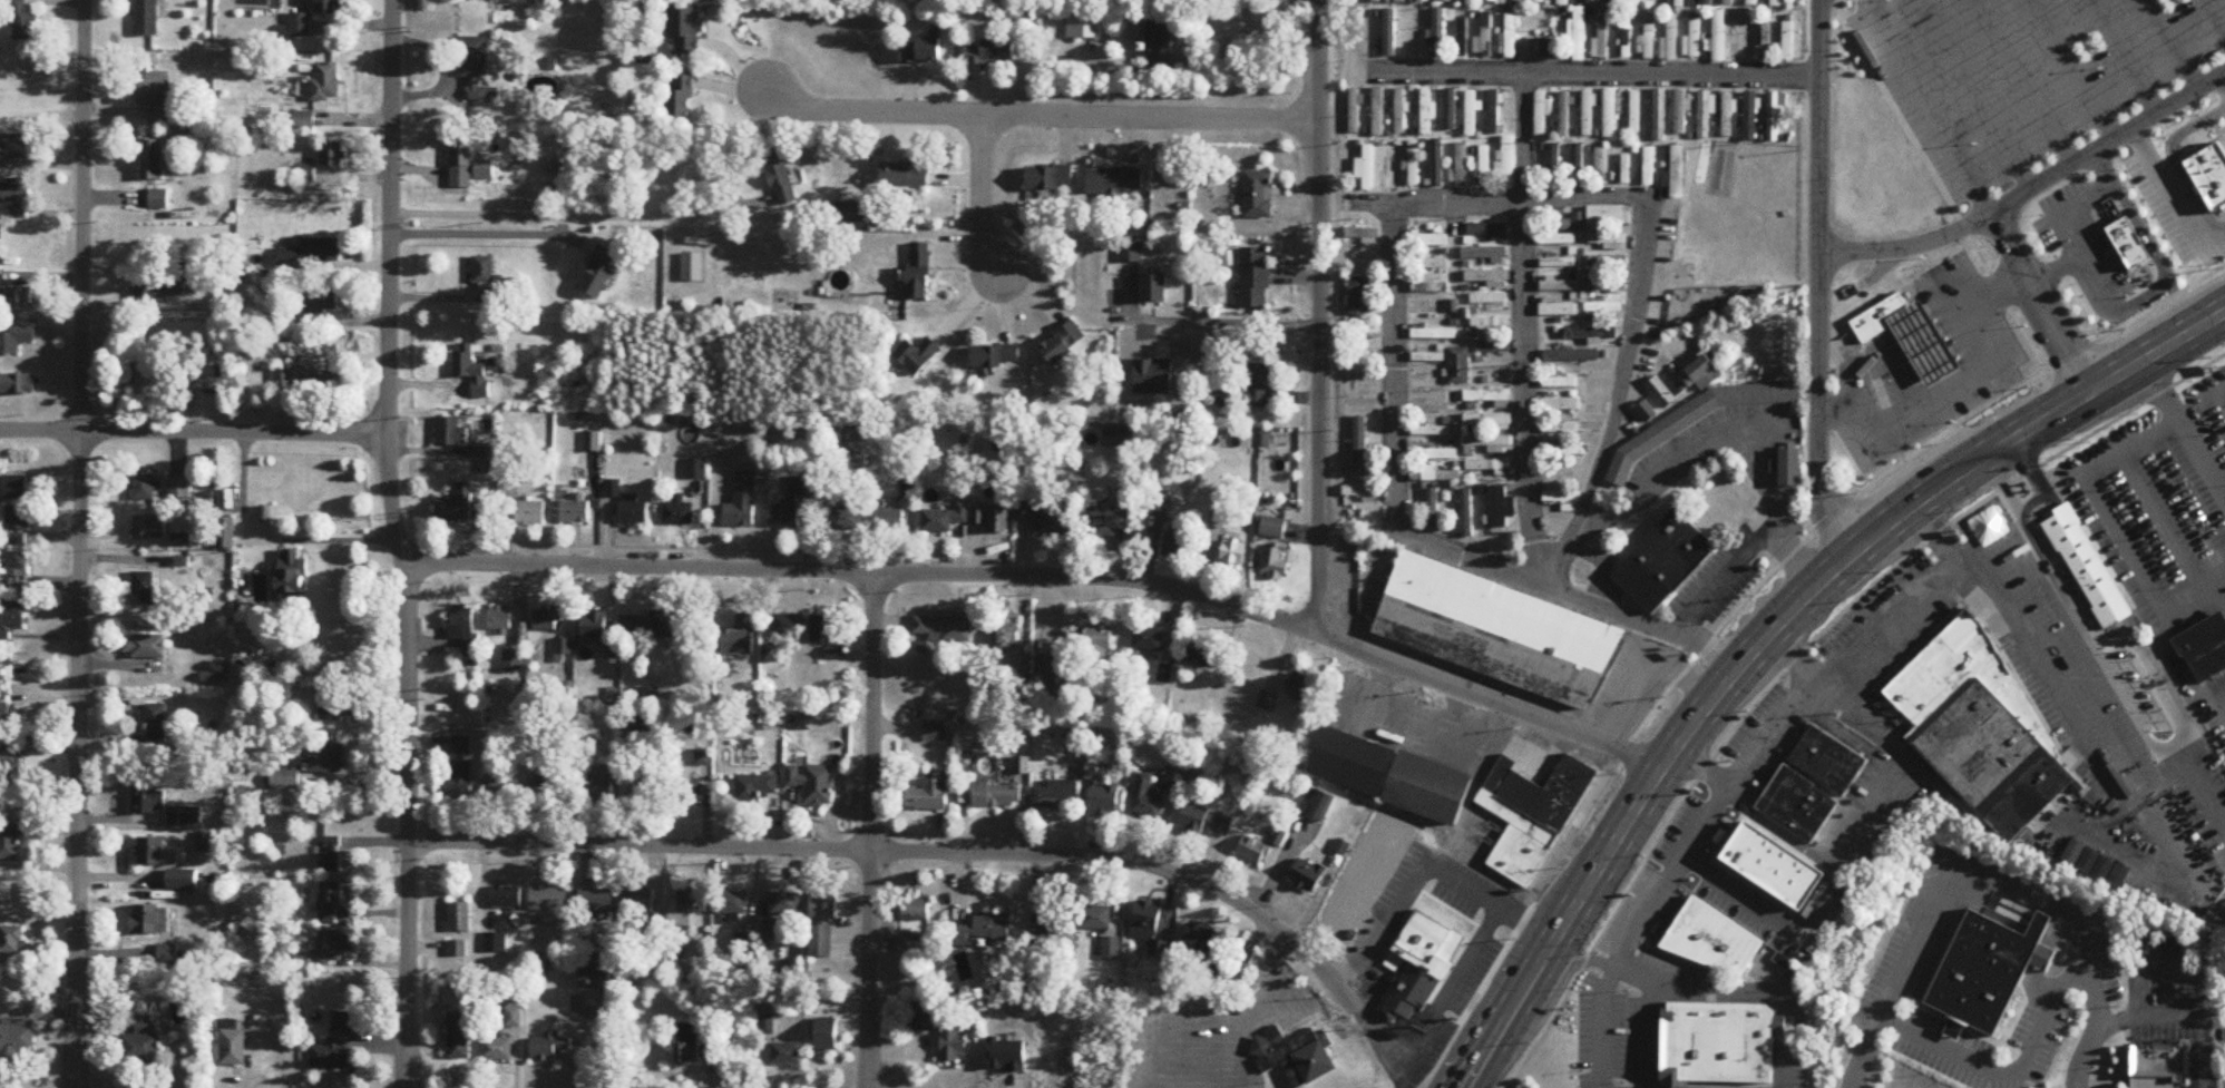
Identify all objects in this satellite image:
building: (1376, 1)
building: (1423, 1)
building: (1446, 1)
building: (1470, 1)
building: (1493, 1)
building: (1587, 1)
building: (1727, 1)
building: (1401, 2)
building: (1539, 2)
building: (1706, 2)
building: (1753, 2)
building: (1563, 3)
building: (1634, 3)
building: (1776, 3)
building: (1682, 4)
building: (329, 7)
building: (147, 18)
road: (2213, 18)
building: (23, 21)
building: (300, 26)
building: (1081, 28)
building: (685, 30)
building: (1437, 33)
road: (1355, 36)
building: (1509, 36)
building: (1601, 36)
building: (1462, 37)
building: (1577, 37)
building: (1626, 37)
building: (1648, 37)
building: (1694, 37)
building: (1718, 37)
building: (1741, 37)
building: (1484, 38)
building: (1670, 40)
building: (1765, 40)
building: (1787, 41)
building: (1160, 42)
road: (2173, 45)
building: (1548, 49)
building: (921, 51)
building: (988, 52)
road: (2122, 57)
road: (1247, 65)
building: (478, 69)
road: (2072, 69)
road: (1587, 73)
building: (326, 82)
road: (2024, 82)
road: (2222, 82)
building: (155, 95)
road: (1974, 95)
building: (681, 100)
road: (1925, 108)
building: (1450, 110)
building: (1354, 111)
road: (1040, 112)
building: (1378, 112)
building: (1399, 112)
building: (1426, 112)
building: (1494, 112)
building: (1611, 112)
building: (1470, 114)
building: (1588, 114)
building: (1680, 114)
building: (1564, 115)
building: (1728, 115)
building: (1706, 116)
building: (1750, 116)
building: (1541, 117)
building: (1775, 117)
building: (14, 148)
building: (332, 155)
building: (152, 160)
building: (1505, 161)
building: (462, 164)
building: (1414, 164)
building: (1553, 164)
building: (1577, 164)
building: (1434, 165)
building: (1600, 165)
building: (1461, 166)
building: (1483, 166)
building: (1622, 166)
building: (1392, 167)
building: (1648, 167)
building: (1366, 168)
building: (485, 170)
building: (1723, 173)
building: (2211, 176)
building: (904, 178)
building: (1050, 178)
building: (781, 180)
building: (1115, 182)
road: (1939, 185)
road: (2030, 189)
road: (2170, 193)
road: (982, 194)
building: (1258, 196)
building: (16, 198)
building: (158, 199)
road: (1501, 199)
building: (849, 213)
road: (574, 216)
building: (1608, 217)
road: (2067, 223)
building: (1578, 224)
building: (1486, 231)
road: (478, 234)
building: (1362, 235)
building: (1550, 235)
building: (1428, 242)
building: (1608, 242)
building: (2129, 245)
building: (1484, 254)
building: (310, 257)
building: (1429, 263)
building: (1608, 263)
building: (1558, 264)
building: (485, 271)
building: (919, 273)
building: (1486, 277)
building: (0, 278)
building: (1256, 280)
road: (1818, 281)
building: (1603, 285)
road: (1728, 285)
building: (1559, 286)
building: (1429, 287)
road: (2000, 287)
building: (164, 290)
building: (1154, 290)
building: (1359, 297)
building: (321, 300)
building: (1489, 300)
building: (17, 301)
road: (2039, 303)
road: (1636, 304)
road: (1394, 306)
building: (1452, 306)
building: (1604, 308)
building: (1559, 310)
building: (1877, 316)
road: (1959, 316)
road: (1319, 320)
road: (1212, 323)
road: (1912, 324)
building: (1490, 326)
road: (1525, 330)
building: (1364, 331)
building: (1601, 332)
building: (1433, 334)
road: (1969, 335)
road: (1921, 339)
building: (17, 340)
building: (1923, 342)
building: (1064, 344)
building: (1493, 347)
building: (1591, 355)
building: (918, 356)
building: (996, 357)
road: (1932, 357)
building: (1428, 359)
road: (1875, 365)
building: (1458, 366)
building: (472, 371)
building: (147, 372)
building: (1502, 373)
building: (1705, 374)
building: (284, 381)
building: (1560, 383)
building: (17, 385)
building: (326, 385)
building: (1259, 386)
road: (1881, 388)
building: (1661, 394)
road: (2217, 395)
building: (1489, 398)
road: (1929, 399)
building: (1560, 404)
building: (1647, 412)
road: (1832, 412)
building: (1698, 421)
building: (1487, 422)
road: (2183, 428)
building: (1560, 430)
building: (452, 431)
building: (1431, 431)
road: (194, 432)
building: (1489, 443)
building: (1563, 452)
road: (1696, 452)
building: (1434, 454)
building: (1489, 467)
building: (696, 469)
building: (1793, 470)
building: (1436, 476)
building: (16, 488)
building: (145, 489)
building: (179, 490)
building: (1362, 493)
building: (1560, 497)
road: (1854, 497)
building: (742, 502)
road: (1585, 502)
building: (628, 506)
building: (462, 507)
building: (1432, 508)
building: (1501, 509)
road: (2180, 509)
building: (576, 510)
building: (677, 511)
building: (530, 513)
building: (1465, 514)
building: (784, 517)
building: (1046, 518)
building: (993, 519)
building: (848, 520)
building: (945, 520)
building: (890, 521)
road: (2159, 521)
building: (1102, 522)
road: (2112, 525)
building: (18, 526)
building: (150, 527)
building: (1273, 528)
building: (225, 533)
road: (1416, 537)
road: (272, 539)
building: (1175, 540)
road: (79, 543)
road: (399, 543)
building: (1235, 552)
road: (1744, 553)
building: (1663, 562)
road: (2049, 565)
building: (1273, 566)
building: (2086, 566)
building: (17, 571)
building: (293, 572)
road: (1044, 576)
building: (146, 588)
road: (2218, 594)
building: (13, 618)
building: (499, 618)
building: (547, 619)
road: (1640, 623)
building: (595, 624)
building: (658, 624)
building: (788, 627)
road: (1892, 627)
building: (943, 628)
building: (1494, 628)
building: (463, 629)
building: (822, 629)
road: (1772, 629)
building: (1005, 635)
building: (1149, 639)
building: (563, 645)
building: (146, 646)
building: (1099, 647)
building: (2205, 650)
road: (1797, 653)
building: (1201, 654)
building: (514, 659)
road: (1639, 664)
building: (1019, 669)
building: (1047, 673)
building: (1304, 688)
road: (2221, 692)
road: (2063, 703)
building: (331, 705)
building: (7, 714)
building: (640, 724)
building: (156, 726)
building: (935, 732)
building: (1982, 733)
road: (1845, 737)
building: (492, 745)
building: (461, 746)
building: (9, 758)
building: (1826, 758)
building: (326, 759)
road: (1699, 767)
building: (1392, 773)
building: (459, 780)
building: (284, 781)
building: (812, 783)
building: (1174, 783)
building: (547, 787)
building: (596, 787)
building: (501, 788)
building: (755, 788)
building: (646, 792)
building: (690, 792)
building: (997, 796)
building: (1054, 796)
building: (929, 797)
building: (1104, 801)
building: (1146, 801)
building: (146, 802)
building: (1795, 802)
building: (1532, 815)
building: (184, 817)
road: (1707, 819)
building: (1204, 821)
road: (1864, 823)
road: (869, 830)
road: (1779, 831)
building: (10, 842)
road: (909, 850)
building: (1253, 850)
building: (150, 852)
building: (331, 855)
road: (1423, 857)
building: (1769, 857)
road: (1954, 864)
building: (1307, 875)
road: (1548, 882)
building: (183, 890)
building: (506, 898)
building: (548, 900)
building: (596, 900)
building: (638, 901)
building: (692, 902)
building: (731, 903)
building: (329, 904)
building: (784, 904)
building: (915, 909)
building: (460, 918)
building: (1096, 919)
building: (150, 920)
building: (823, 924)
building: (1057, 924)
building: (1149, 928)
building: (769, 931)
building: (984, 931)
building: (1465, 935)
building: (1708, 937)
building: (1432, 938)
building: (1200, 939)
building: (11, 940)
road: (1477, 940)
building: (495, 943)
building: (335, 945)
building: (919, 945)
building: (458, 949)
building: (1111, 949)
building: (168, 955)
building: (2040, 955)
road: (1423, 958)
road: (1577, 962)
road: (2147, 967)
building: (1982, 969)
building: (1211, 971)
building: (596, 977)
road: (2213, 987)
building: (1408, 990)
road: (1688, 992)
road: (2204, 992)
road: (1663, 996)
road: (1472, 1003)
road: (1769, 1003)
building: (514, 1011)
road: (1363, 1012)
building: (923, 1016)
road: (2124, 1018)
road: (1785, 1021)
road: (1777, 1027)
building: (1779, 1027)
building: (1952, 1027)
building: (827, 1035)
road: (1649, 1036)
building: (459, 1037)
building: (17, 1039)
building: (952, 1041)
building: (1719, 1042)
building: (140, 1045)
building: (233, 1047)
building: (693, 1047)
building: (552, 1048)
building: (497, 1050)
road: (1778, 1050)
road: (2200, 1052)
building: (785, 1053)
building: (1665, 1053)
building: (330, 1055)
building: (1294, 1056)
road: (1662, 1056)
building: (2159, 1059)
road: (1418, 1061)
road: (2012, 1071)
road: (1405, 1081)
building: (2150, 1081)
road: (1663, 1082)
road: (1735, 1086)

